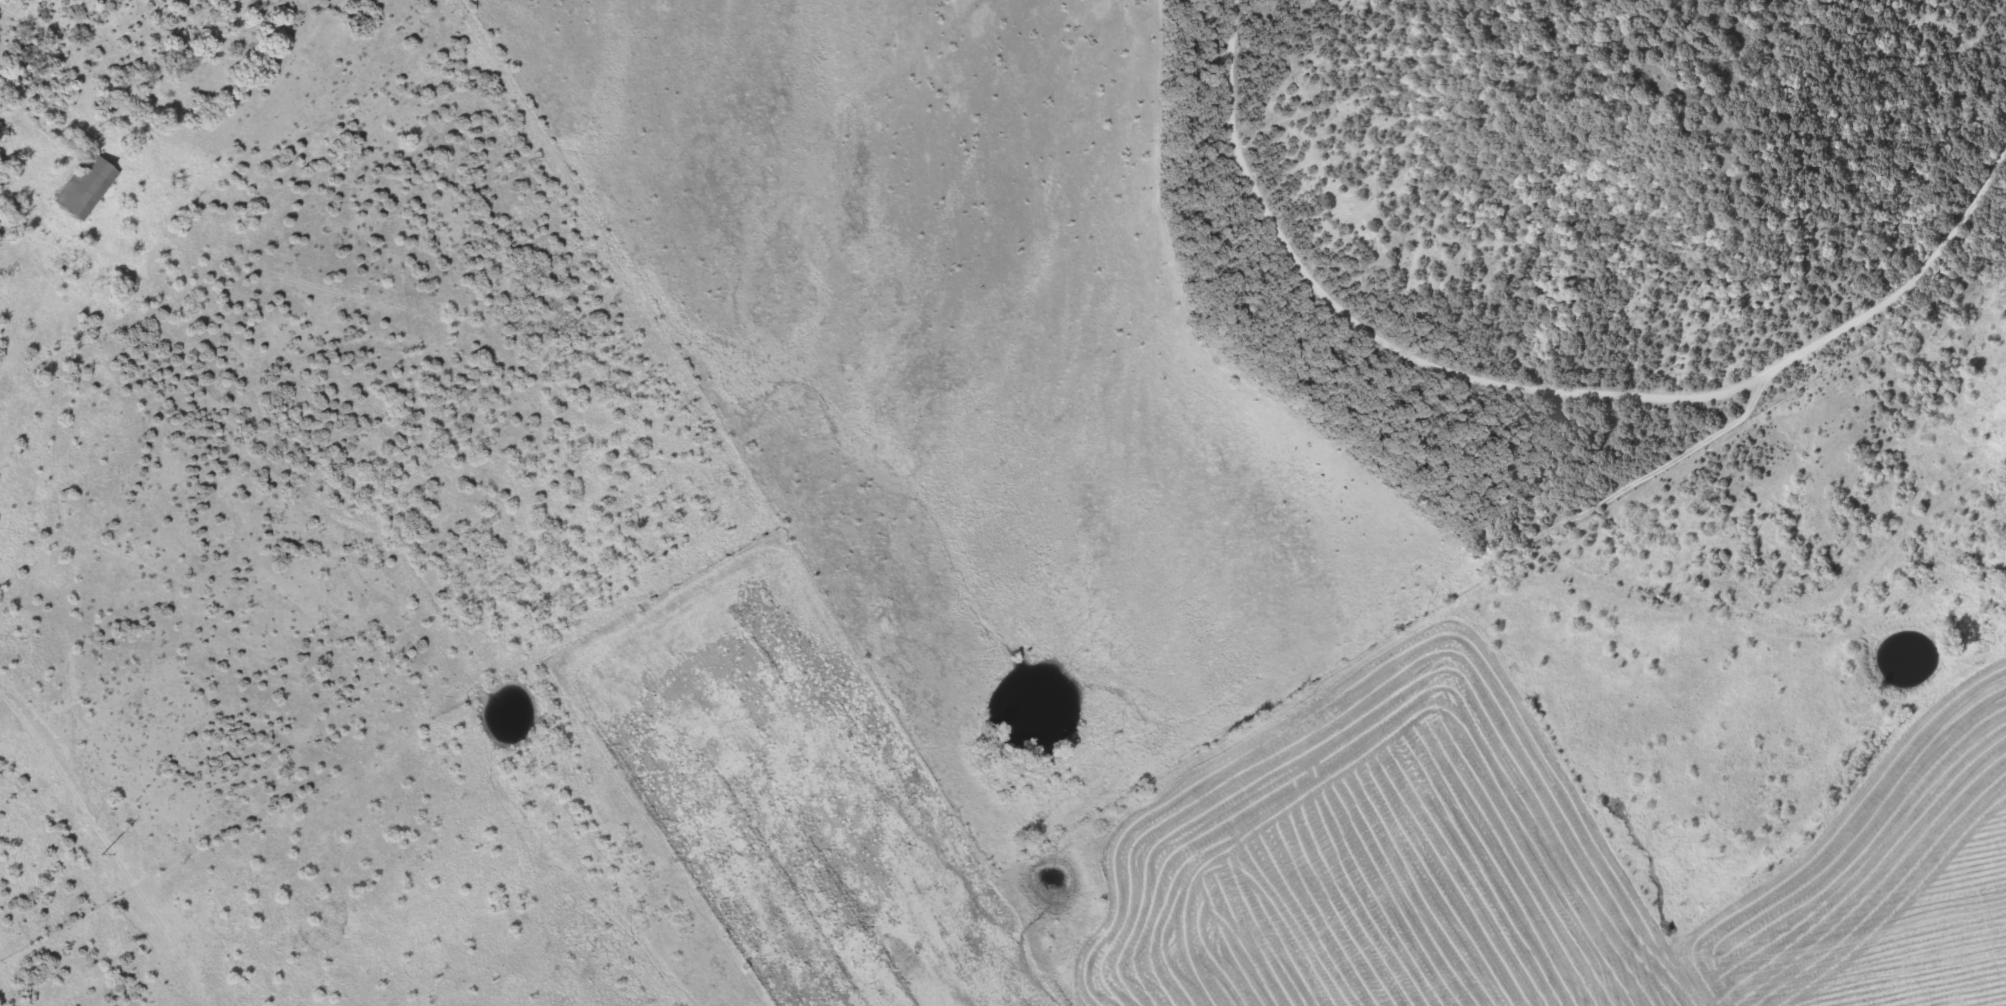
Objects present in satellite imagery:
building: (93, 184)
road: (143, 194)
road: (1450, 512)

